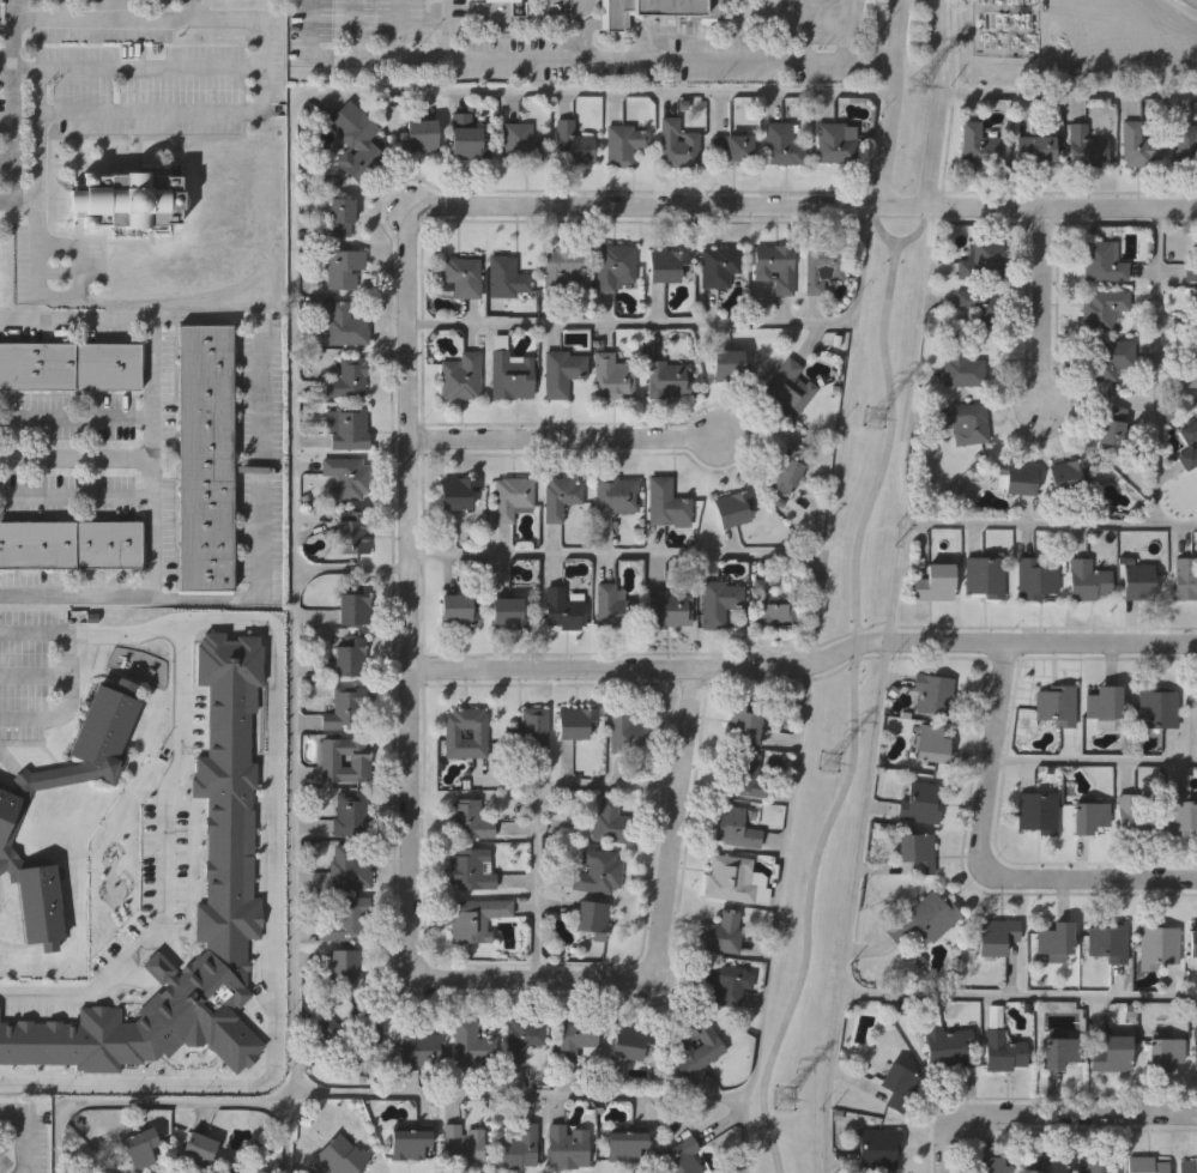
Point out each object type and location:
building: (480, 0)
road: (103, 8)
building: (684, 8)
road: (11, 10)
building: (612, 13)
road: (159, 14)
road: (64, 18)
road: (804, 31)
road: (848, 31)
road: (10, 38)
road: (351, 59)
road: (639, 61)
road: (54, 67)
power tower: (920, 85)
road: (1066, 93)
road: (889, 103)
road: (933, 103)
road: (949, 105)
road: (11, 131)
building: (418, 138)
building: (466, 138)
building: (836, 140)
building: (355, 141)
building: (520, 144)
building: (573, 144)
building: (781, 144)
building: (1185, 144)
building: (623, 145)
building: (677, 145)
building: (979, 145)
building: (1137, 145)
building: (733, 146)
building: (1086, 146)
building: (1035, 147)
road: (38, 168)
building: (126, 199)
road: (812, 206)
building: (340, 217)
road: (878, 226)
road: (915, 231)
building: (983, 260)
building: (1101, 261)
building: (717, 264)
building: (563, 265)
building: (613, 265)
building: (666, 265)
building: (343, 266)
building: (774, 266)
building: (823, 266)
building: (1191, 271)
building: (461, 276)
building: (507, 276)
road: (52, 295)
building: (978, 304)
road: (1044, 304)
building: (1102, 306)
building: (1196, 314)
building: (343, 325)
road: (687, 325)
road: (294, 339)
building: (1110, 357)
building: (1190, 363)
building: (69, 364)
building: (727, 364)
building: (960, 367)
road: (1156, 367)
building: (561, 371)
building: (459, 376)
building: (509, 376)
building: (346, 379)
building: (612, 380)
building: (665, 380)
building: (785, 387)
road: (75, 416)
power tower: (877, 417)
building: (965, 421)
building: (1112, 423)
building: (346, 428)
road: (564, 439)
building: (1187, 443)
road: (152, 453)
building: (205, 458)
road: (75, 459)
building: (784, 467)
building: (1068, 472)
building: (1016, 476)
building: (346, 477)
building: (455, 489)
building: (613, 494)
road: (75, 495)
building: (510, 496)
building: (557, 496)
building: (664, 501)
building: (737, 504)
road: (906, 506)
building: (353, 528)
building: (69, 545)
road: (666, 554)
road: (352, 572)
road: (410, 572)
building: (985, 575)
building: (1034, 576)
building: (1184, 576)
building: (1086, 578)
building: (1138, 580)
building: (933, 581)
building: (718, 600)
building: (353, 601)
building: (775, 603)
building: (611, 604)
building: (563, 605)
building: (454, 607)
building: (667, 609)
building: (507, 611)
road: (122, 630)
building: (350, 655)
road: (805, 669)
road: (62, 672)
building: (932, 694)
building: (1192, 694)
road: (276, 696)
building: (1057, 702)
building: (1106, 703)
building: (1157, 705)
building: (347, 706)
road: (854, 712)
building: (573, 720)
building: (743, 722)
building: (528, 726)
building: (627, 730)
building: (478, 731)
building: (931, 743)
building: (359, 758)
power tower: (830, 762)
road: (1093, 762)
building: (745, 772)
building: (918, 800)
building: (1036, 810)
road: (537, 812)
building: (351, 815)
building: (1088, 815)
building: (1181, 815)
building: (467, 818)
building: (1130, 818)
building: (8, 820)
building: (610, 822)
building: (736, 829)
building: (226, 846)
road: (860, 846)
building: (915, 849)
road: (983, 859)
building: (470, 867)
building: (349, 870)
building: (598, 870)
building: (726, 879)
building: (591, 917)
building: (347, 918)
building: (473, 918)
building: (924, 920)
building: (721, 932)
building: (997, 933)
building: (1056, 937)
building: (1191, 939)
building: (1106, 942)
building: (1155, 944)
road: (655, 949)
building: (345, 965)
building: (723, 985)
road: (1018, 997)
building: (357, 1032)
building: (525, 1036)
building: (576, 1039)
building: (470, 1042)
building: (944, 1042)
building: (629, 1044)
building: (711, 1046)
building: (1195, 1046)
building: (423, 1047)
building: (1163, 1050)
building: (1003, 1052)
building: (1112, 1053)
building: (1057, 1054)
building: (896, 1084)
road: (736, 1095)
road: (140, 1099)
power tower: (784, 1099)
road: (1047, 1113)
road: (743, 1133)
road: (23, 1135)
building: (409, 1139)
building: (621, 1145)
building: (139, 1147)
building: (461, 1147)
building: (566, 1147)
building: (516, 1149)
building: (875, 1149)
building: (198, 1150)
building: (341, 1154)
building: (677, 1157)
building: (992, 1165)
building: (1045, 1165)
building: (1098, 1165)
building: (1145, 1165)
building: (1186, 1166)

